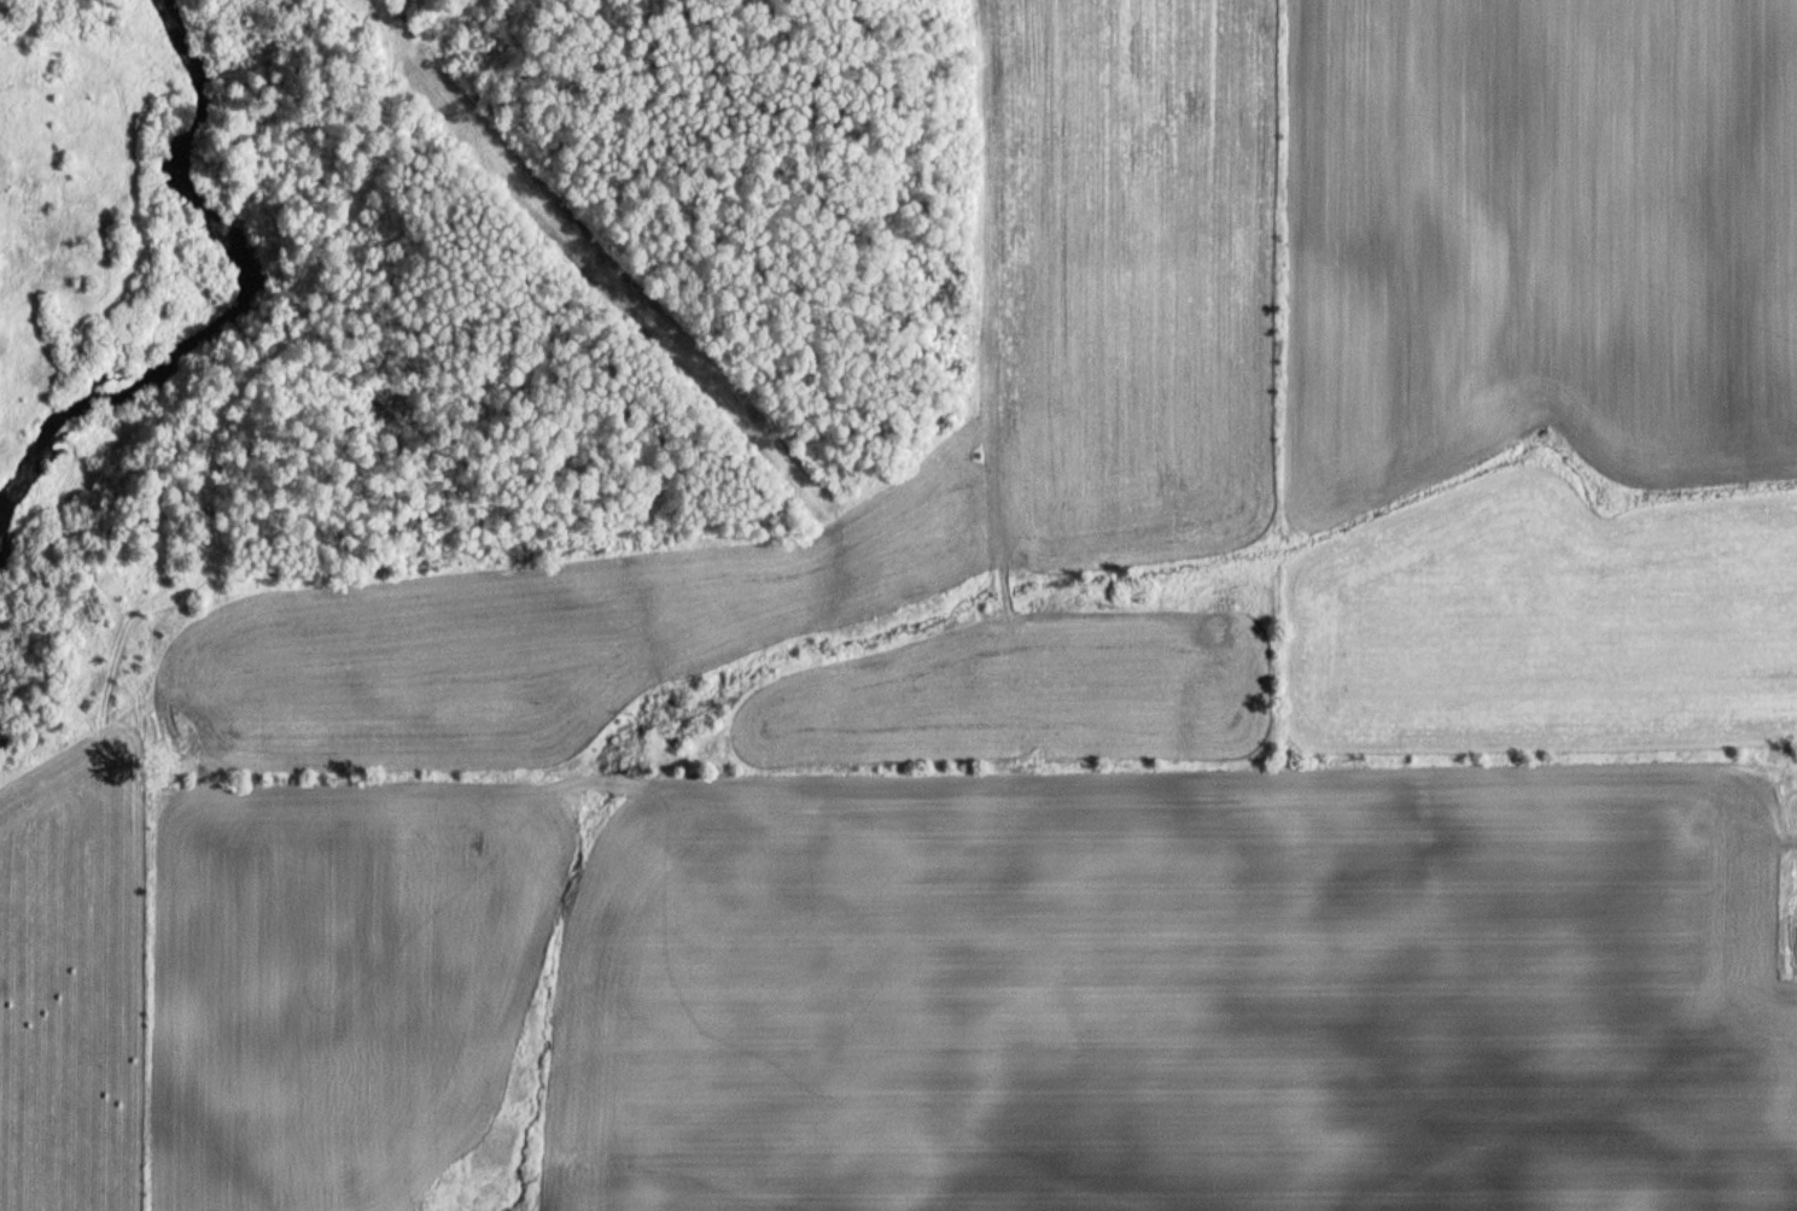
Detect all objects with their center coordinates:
building: (404, 8)
river: (250, 298)

